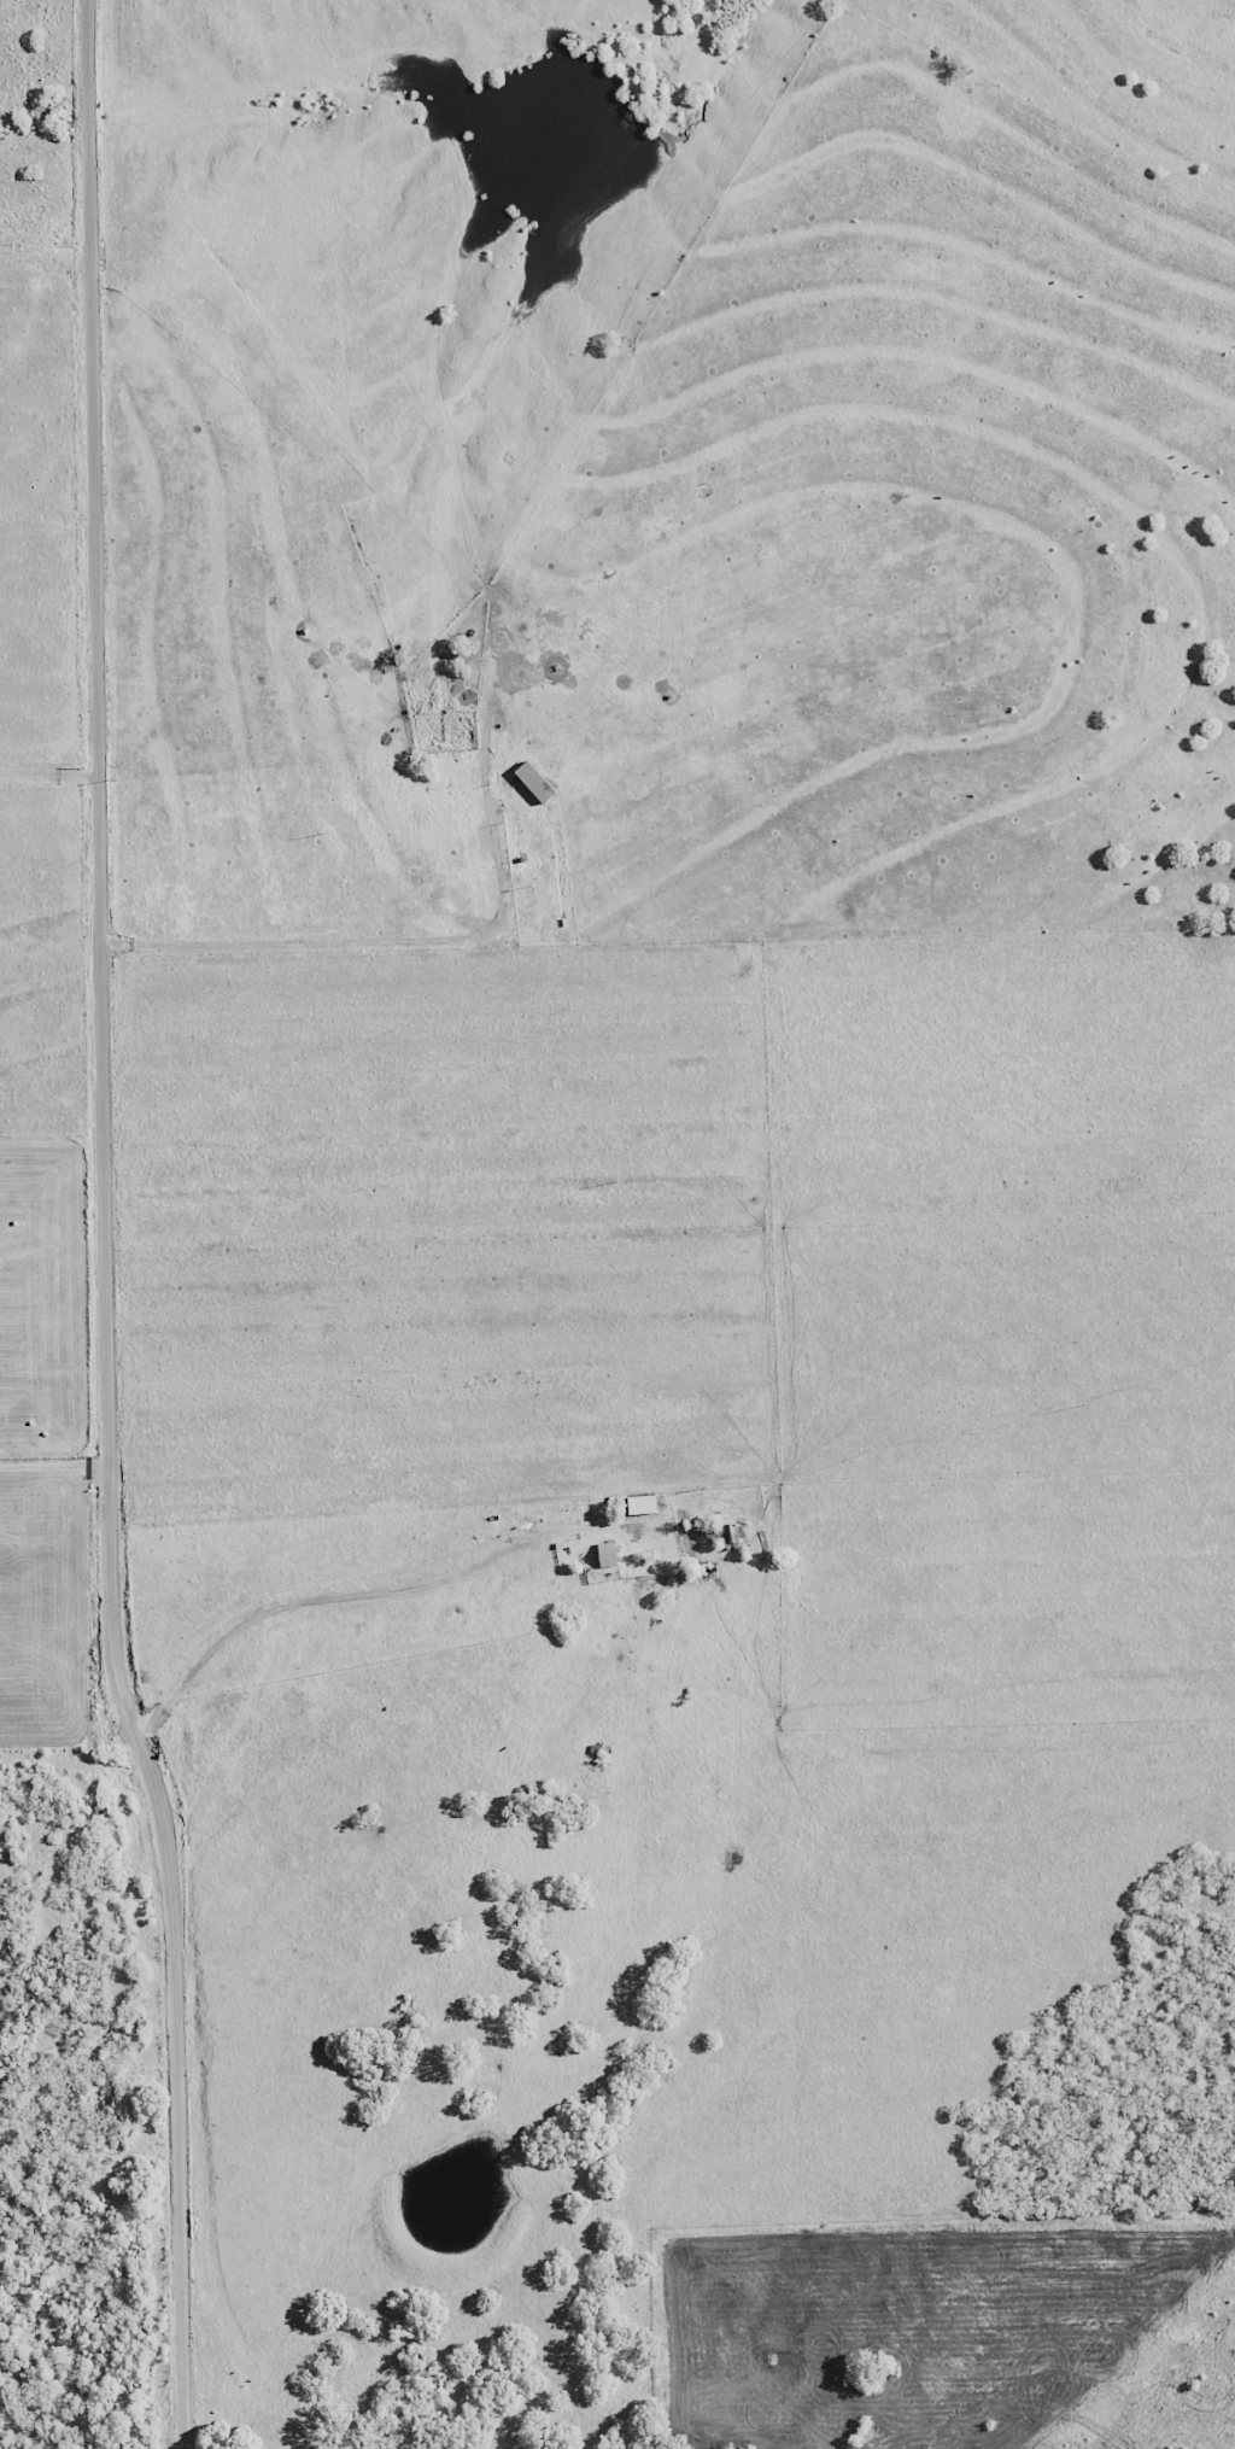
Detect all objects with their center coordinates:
road: (368, 974)
road: (109, 1227)
building: (633, 1503)
road: (437, 1605)

